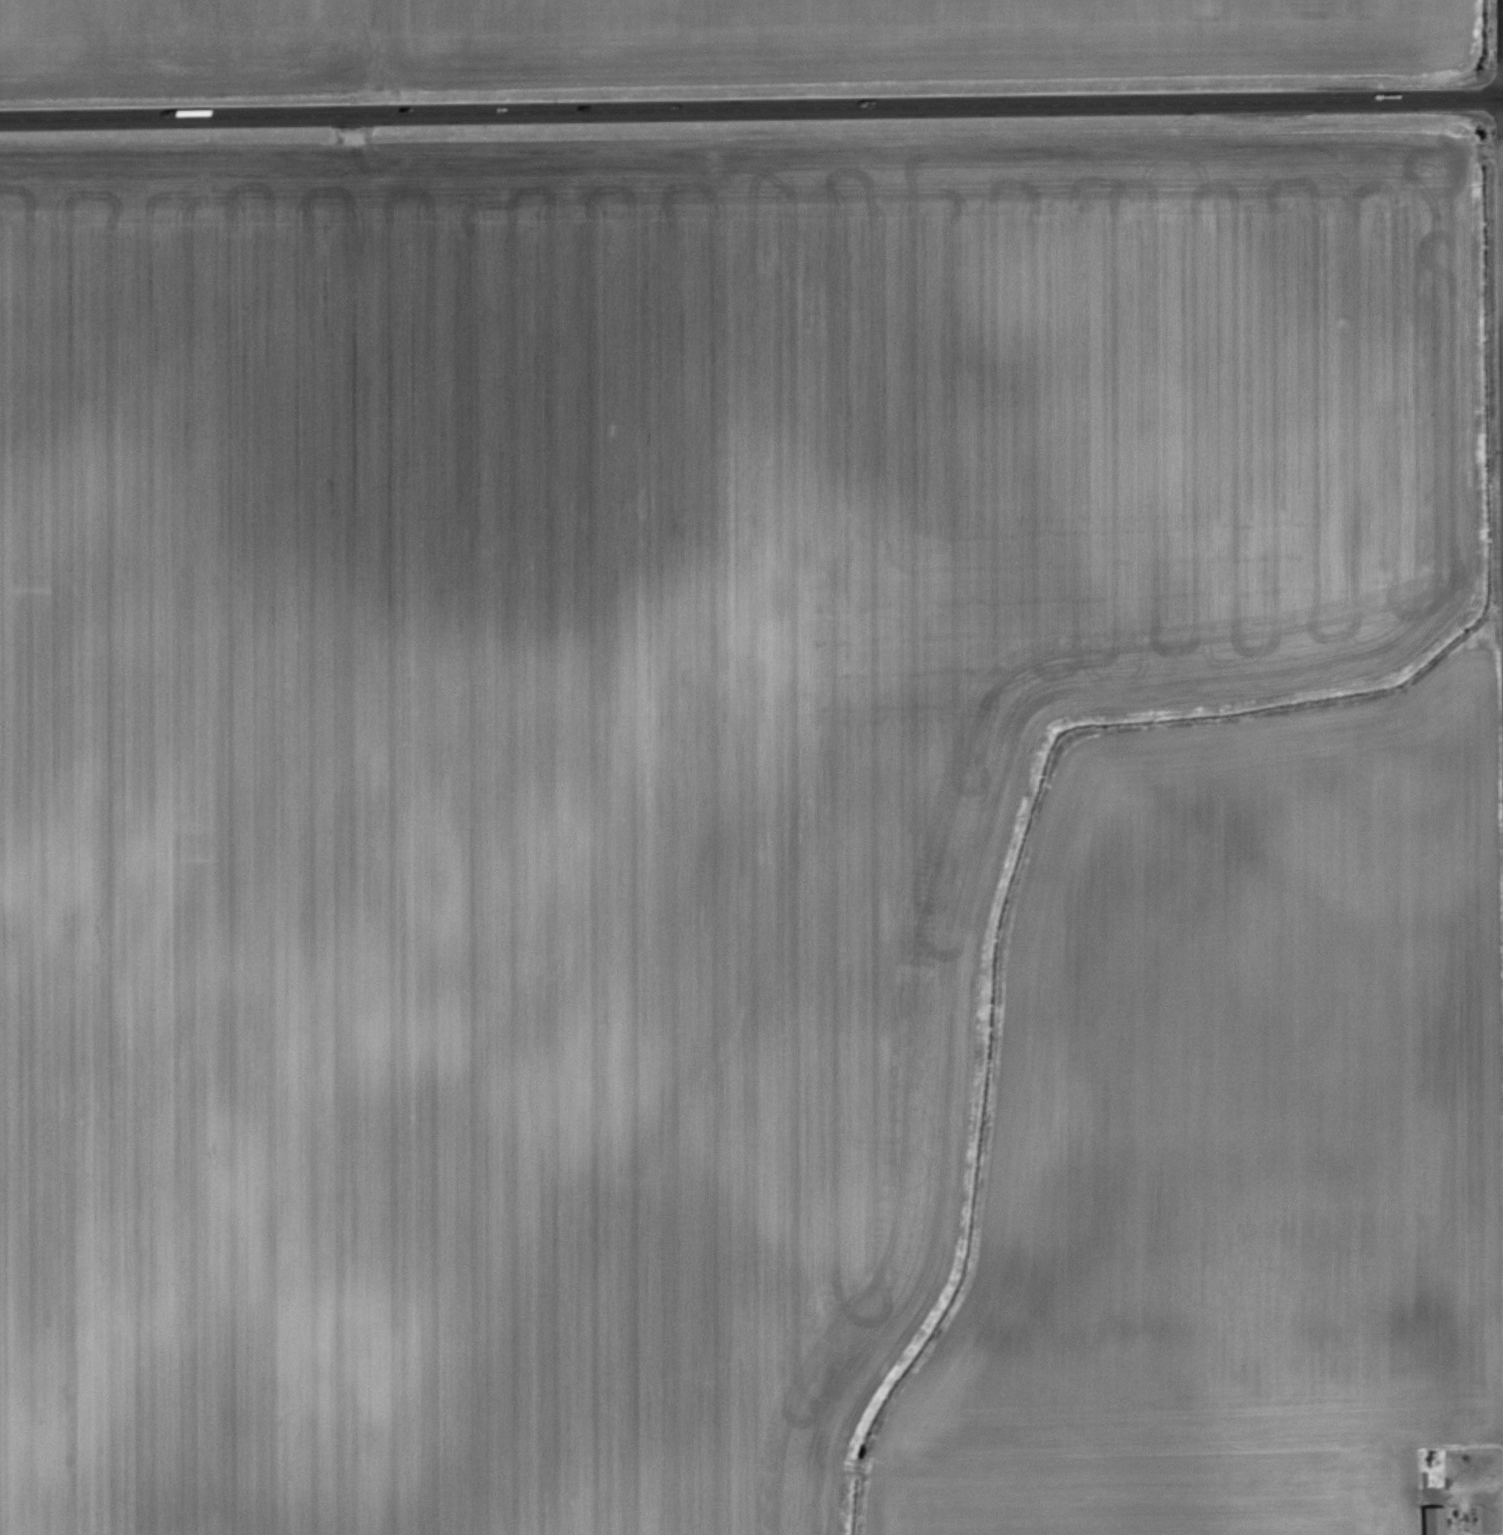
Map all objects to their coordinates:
road: (751, 109)
road: (1499, 331)
building: (1438, 1521)

